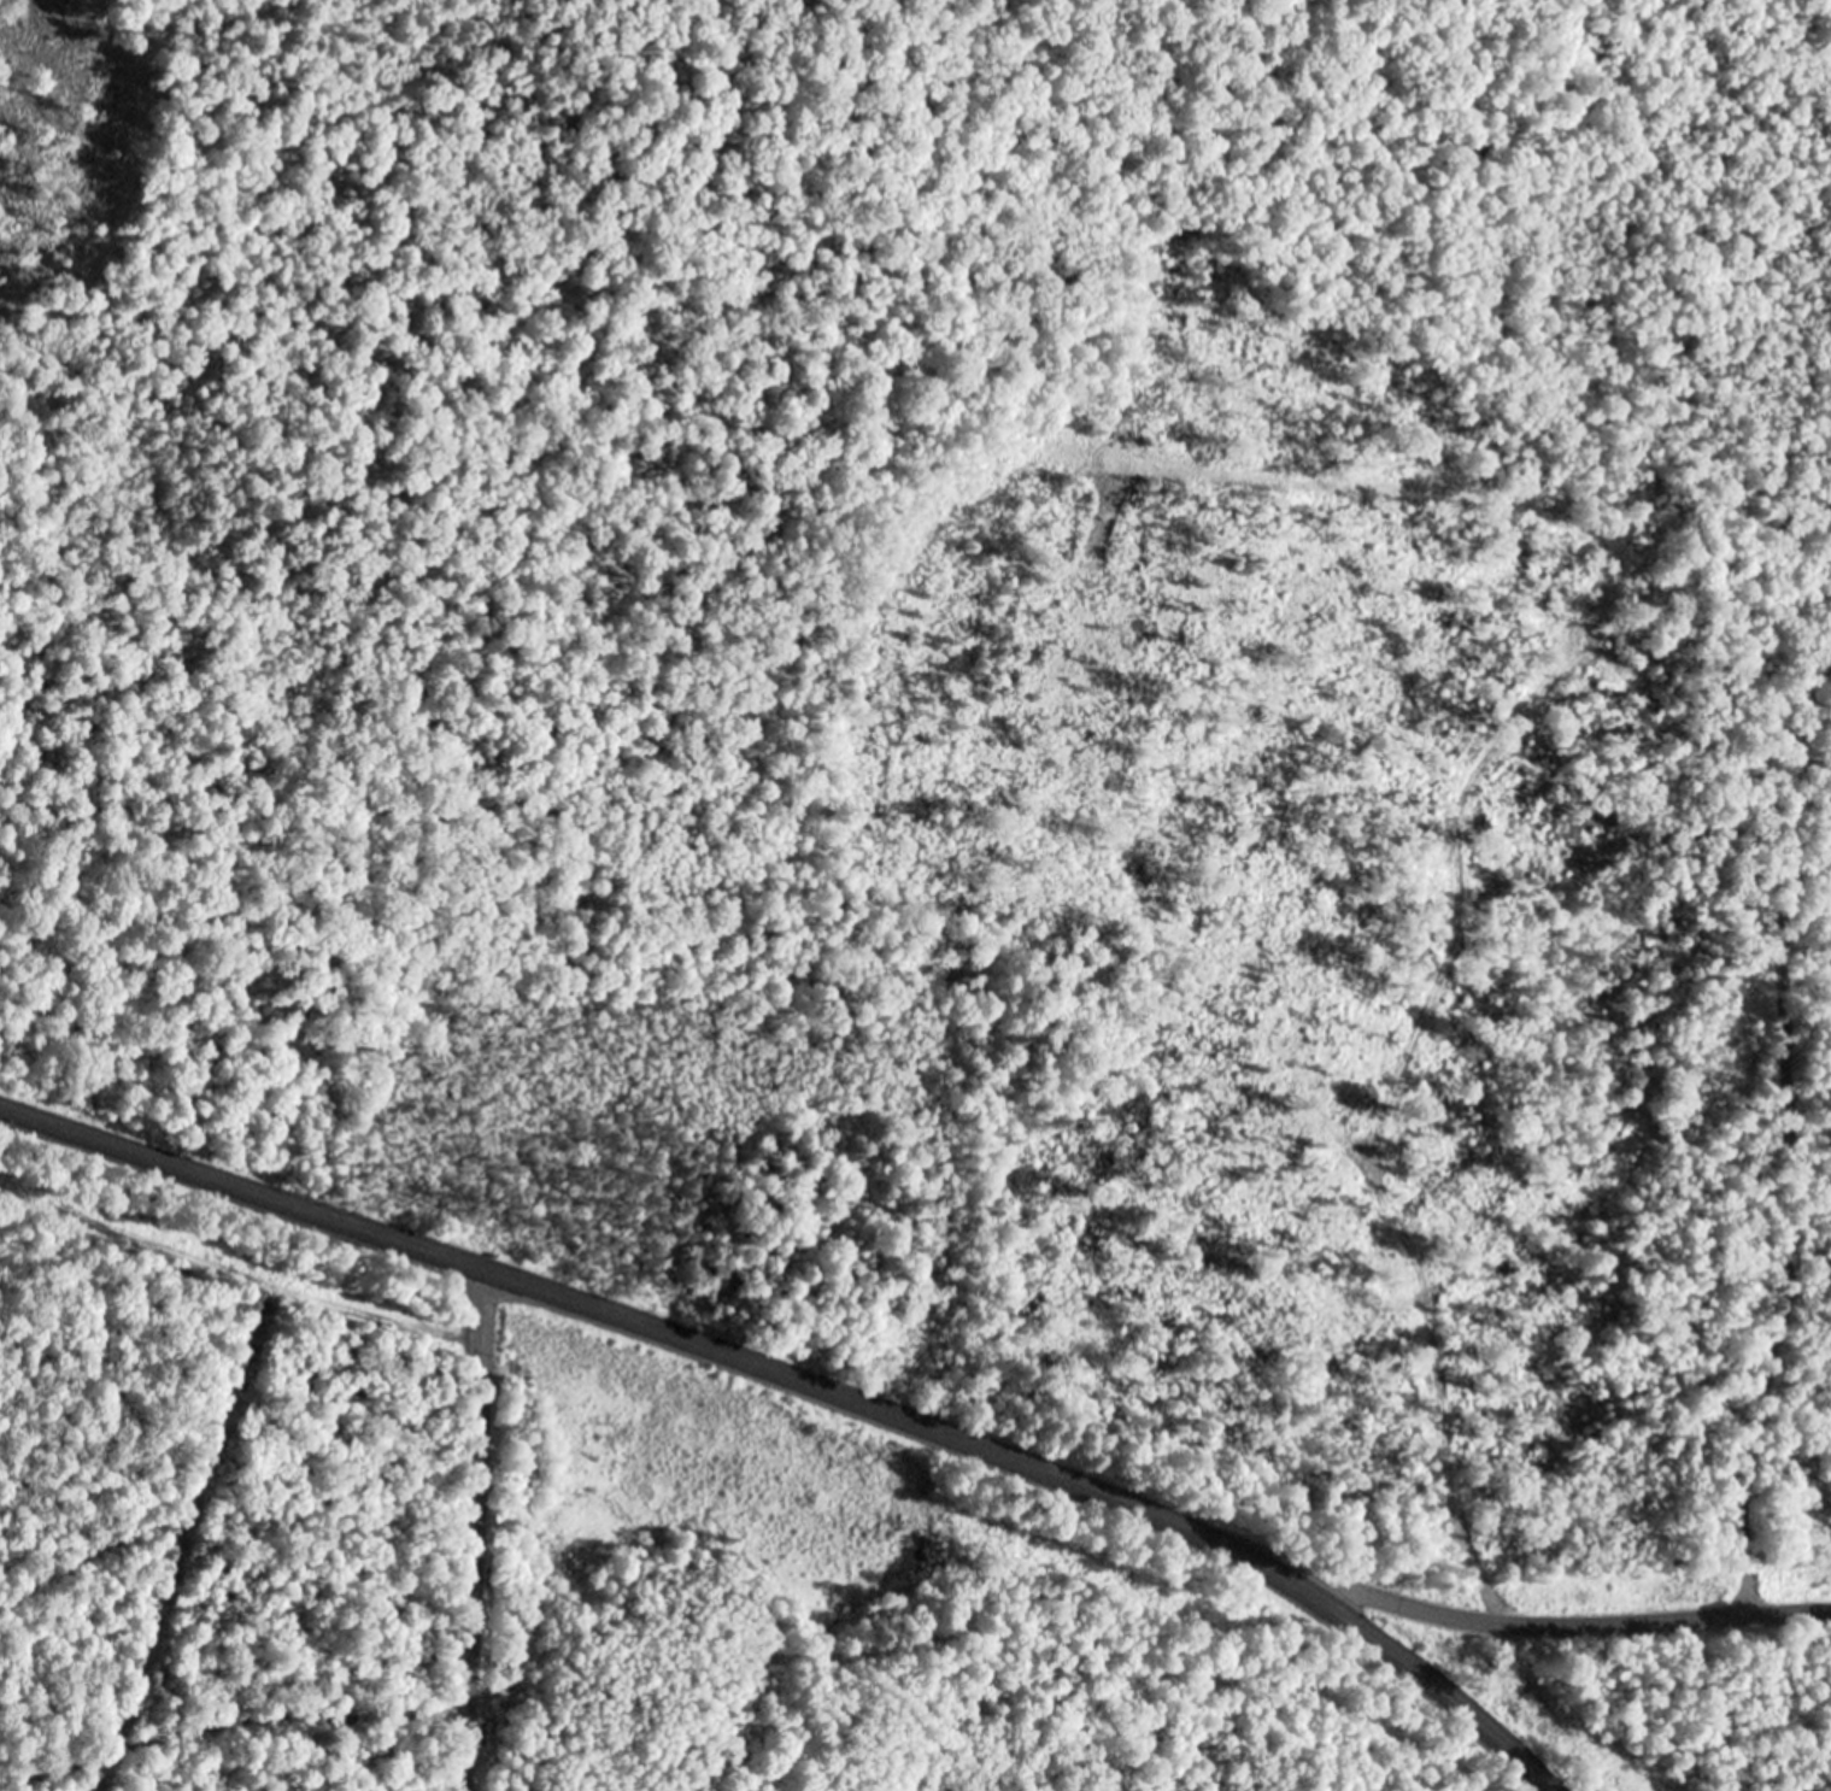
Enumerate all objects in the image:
road: (1786, 1105)
road: (814, 1378)
road: (234, 1511)
road: (477, 1526)
road: (1548, 1611)
road: (237, 1751)

